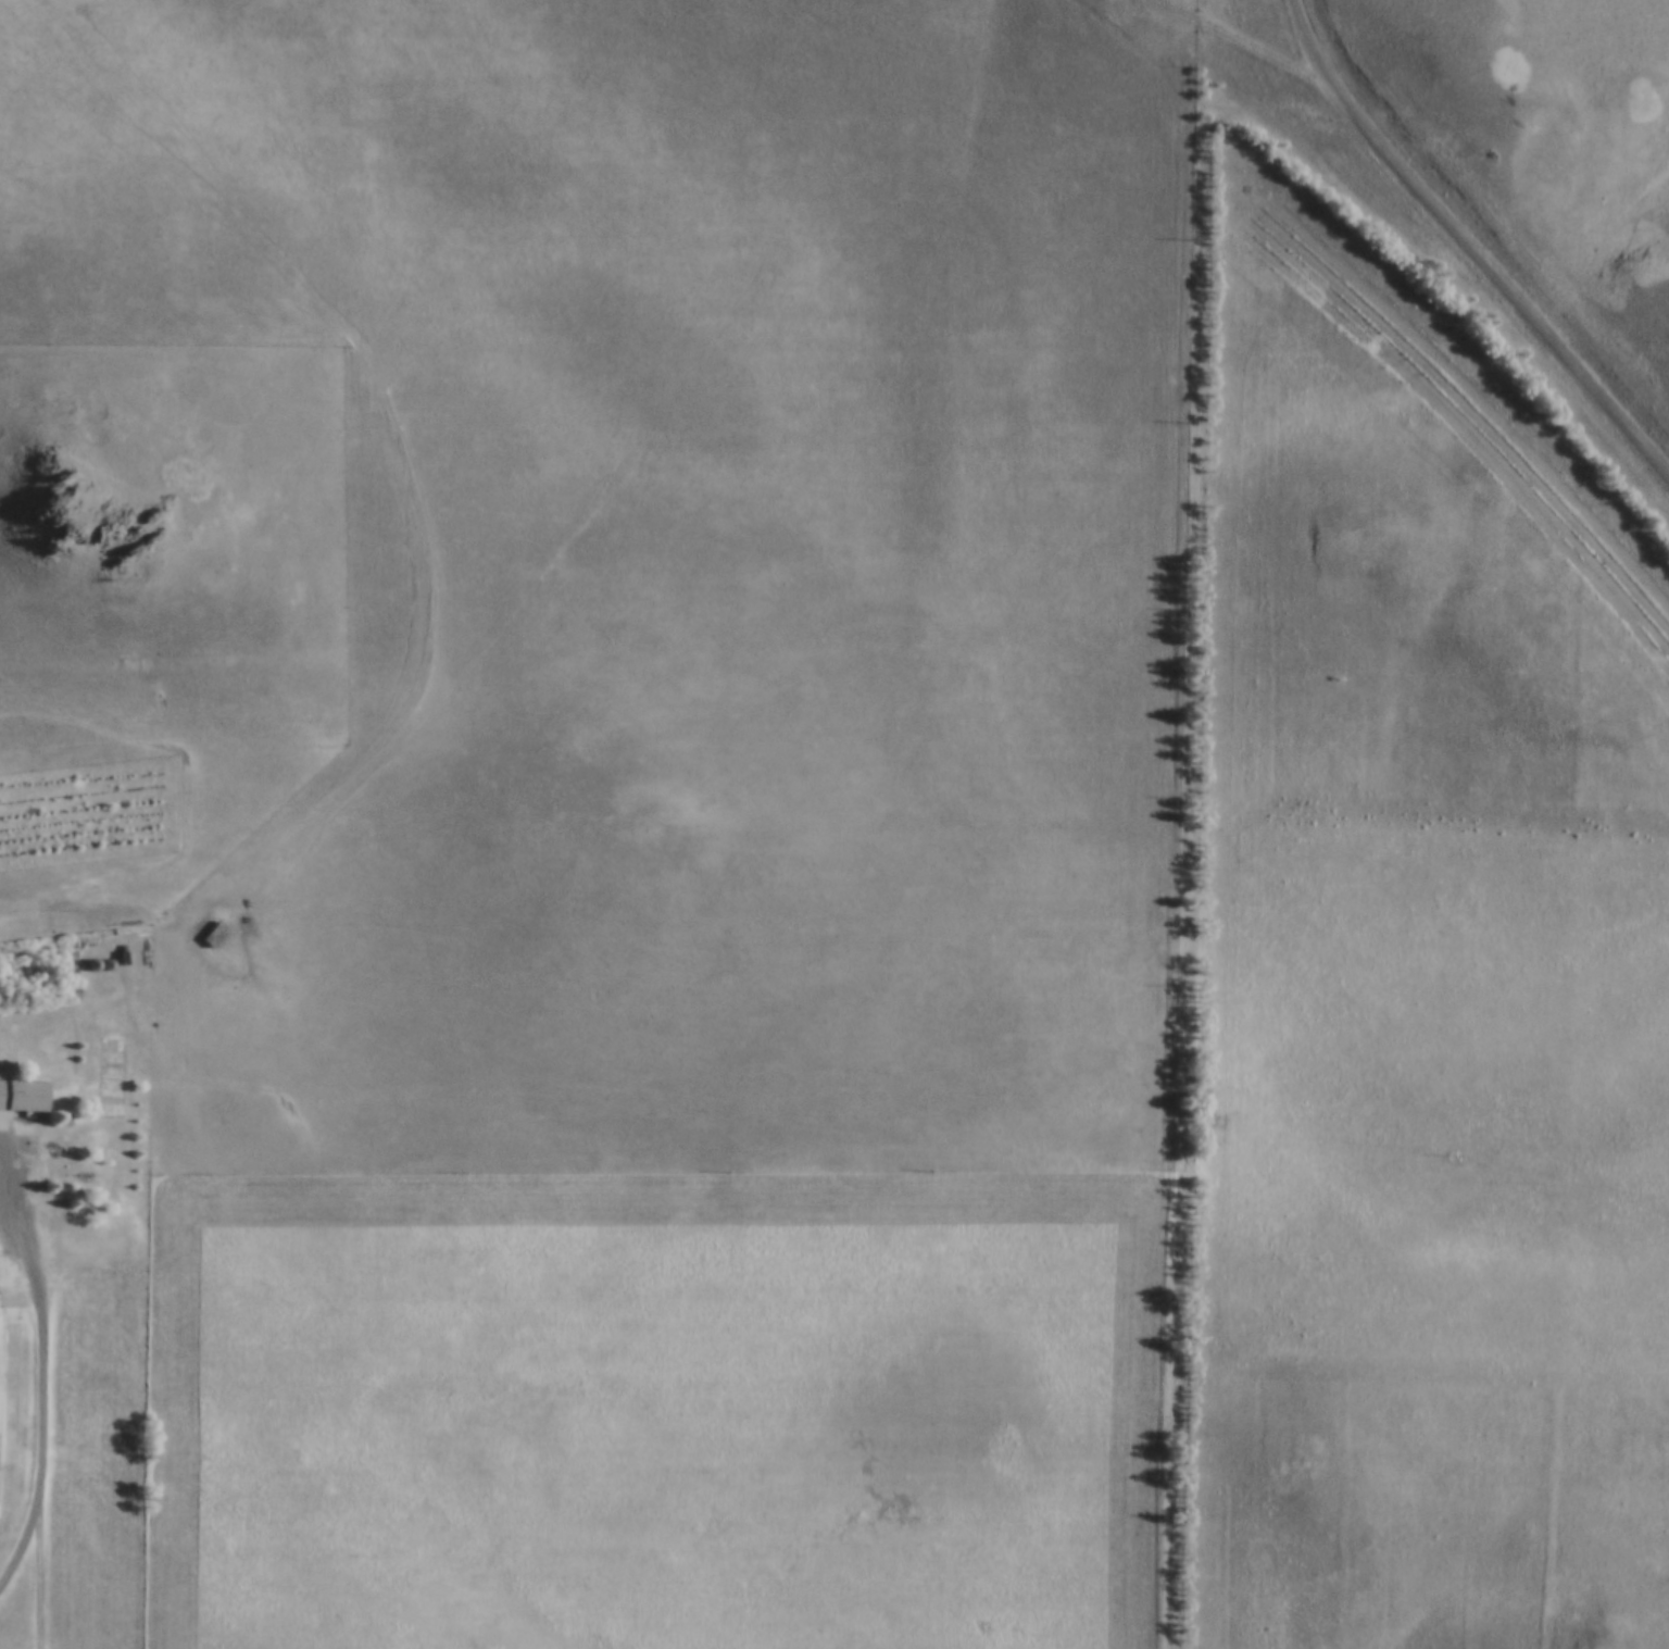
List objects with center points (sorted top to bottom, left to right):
road: (1250, 42)
road: (1471, 246)
building: (21, 1094)
road: (43, 1358)

